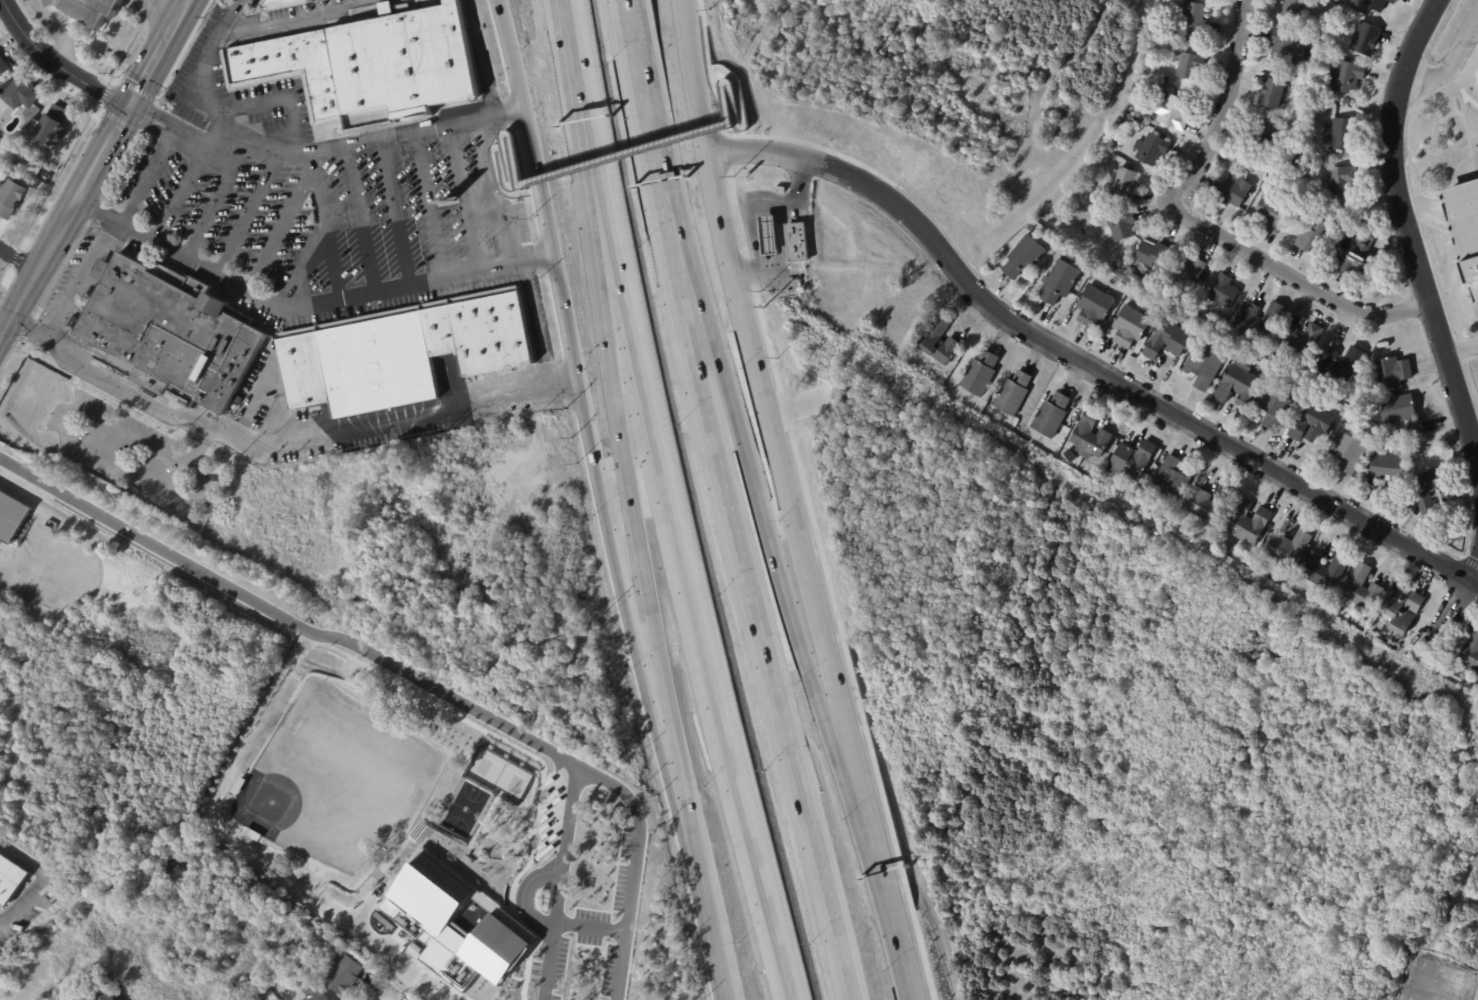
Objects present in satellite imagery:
building: (1393, 1)
building: (280, 3)
building: (1375, 4)
building: (1294, 7)
building: (92, 9)
road: (173, 12)
road: (154, 13)
road: (294, 18)
building: (1195, 18)
road: (12, 22)
road: (54, 32)
road: (572, 37)
building: (1366, 38)
building: (1315, 39)
building: (1285, 46)
road: (172, 58)
road: (477, 59)
road: (1449, 61)
road: (143, 64)
building: (1190, 65)
road: (708, 66)
building: (369, 67)
building: (3, 68)
road: (200, 68)
building: (1346, 76)
road: (697, 77)
building: (1166, 79)
road: (75, 80)
road: (727, 82)
road: (737, 91)
building: (19, 94)
building: (1274, 94)
road: (1465, 95)
road: (274, 98)
road: (645, 104)
traffic signals: (129, 109)
road: (1221, 109)
building: (1173, 112)
road: (508, 115)
building: (1139, 116)
road: (163, 118)
building: (1132, 120)
building: (51, 125)
road: (1467, 128)
road: (154, 132)
road: (506, 133)
building: (1344, 134)
building: (1264, 139)
road: (108, 144)
road: (77, 145)
road: (341, 146)
building: (1151, 148)
road: (624, 154)
building: (1233, 156)
road: (493, 158)
road: (1459, 169)
road: (140, 180)
building: (1342, 180)
building: (1301, 181)
building: (1123, 182)
road: (1456, 184)
road: (527, 185)
building: (1232, 189)
road: (542, 190)
road: (495, 193)
road: (179, 194)
building: (12, 199)
road: (465, 199)
road: (211, 204)
road: (428, 207)
building: (1272, 212)
road: (241, 213)
road: (394, 214)
road: (751, 219)
road: (1416, 219)
road: (283, 221)
road: (360, 221)
road: (1432, 222)
road: (778, 226)
building: (1121, 226)
building: (1465, 226)
building: (1029, 228)
road: (325, 234)
road: (1406, 234)
building: (769, 235)
gas station: (769, 235)
building: (1314, 235)
road: (1454, 239)
building: (796, 242)
building: (1152, 255)
road: (43, 257)
building: (1024, 257)
road: (538, 258)
road: (18, 260)
building: (1358, 260)
building: (1190, 270)
road: (304, 272)
building: (1134, 278)
road: (1295, 279)
road: (78, 281)
building: (1060, 281)
road: (1469, 285)
building: (1148, 287)
building: (1224, 291)
road: (1458, 300)
building: (1095, 306)
road: (288, 309)
building: (1187, 309)
road: (1454, 316)
building: (1260, 321)
road: (538, 324)
building: (1131, 327)
building: (175, 332)
building: (1167, 340)
building: (939, 341)
building: (1298, 342)
road: (1461, 350)
parking lot: (1474, 354)
building: (403, 355)
road: (1079, 362)
building: (1340, 365)
building: (1204, 368)
road: (1131, 373)
building: (1392, 373)
building: (979, 374)
road: (567, 386)
building: (1237, 387)
building: (1012, 394)
building: (1277, 410)
road: (615, 413)
building: (1403, 414)
building: (1051, 415)
building: (1312, 424)
building: (1090, 436)
road: (268, 444)
building: (1350, 450)
road: (1476, 455)
building: (1070, 456)
building: (1132, 460)
road: (778, 466)
building: (1389, 471)
building: (1096, 472)
building: (1171, 478)
building: (1433, 489)
road: (759, 492)
building: (1439, 499)
building: (1210, 504)
building: (11, 515)
building: (1249, 523)
road: (677, 539)
building: (1289, 549)
road: (743, 556)
road: (1469, 561)
road: (820, 566)
road: (624, 567)
road: (7, 568)
road: (83, 569)
road: (1473, 570)
building: (1326, 571)
building: (1287, 580)
road: (1473, 583)
building: (1363, 589)
road: (1475, 601)
building: (1402, 610)
road: (1450, 615)
building: (1373, 635)
building: (1470, 654)
road: (409, 673)
building: (348, 678)
building: (1476, 685)
road: (697, 875)
building: (10, 879)
road: (37, 880)
road: (559, 882)
road: (882, 888)
road: (525, 894)
building: (59, 895)
road: (590, 926)
road: (840, 952)
road: (394, 954)
building: (296, 966)
building: (343, 974)
road: (400, 977)
building: (96, 985)
building: (313, 992)
road: (386, 994)
building: (103, 996)

